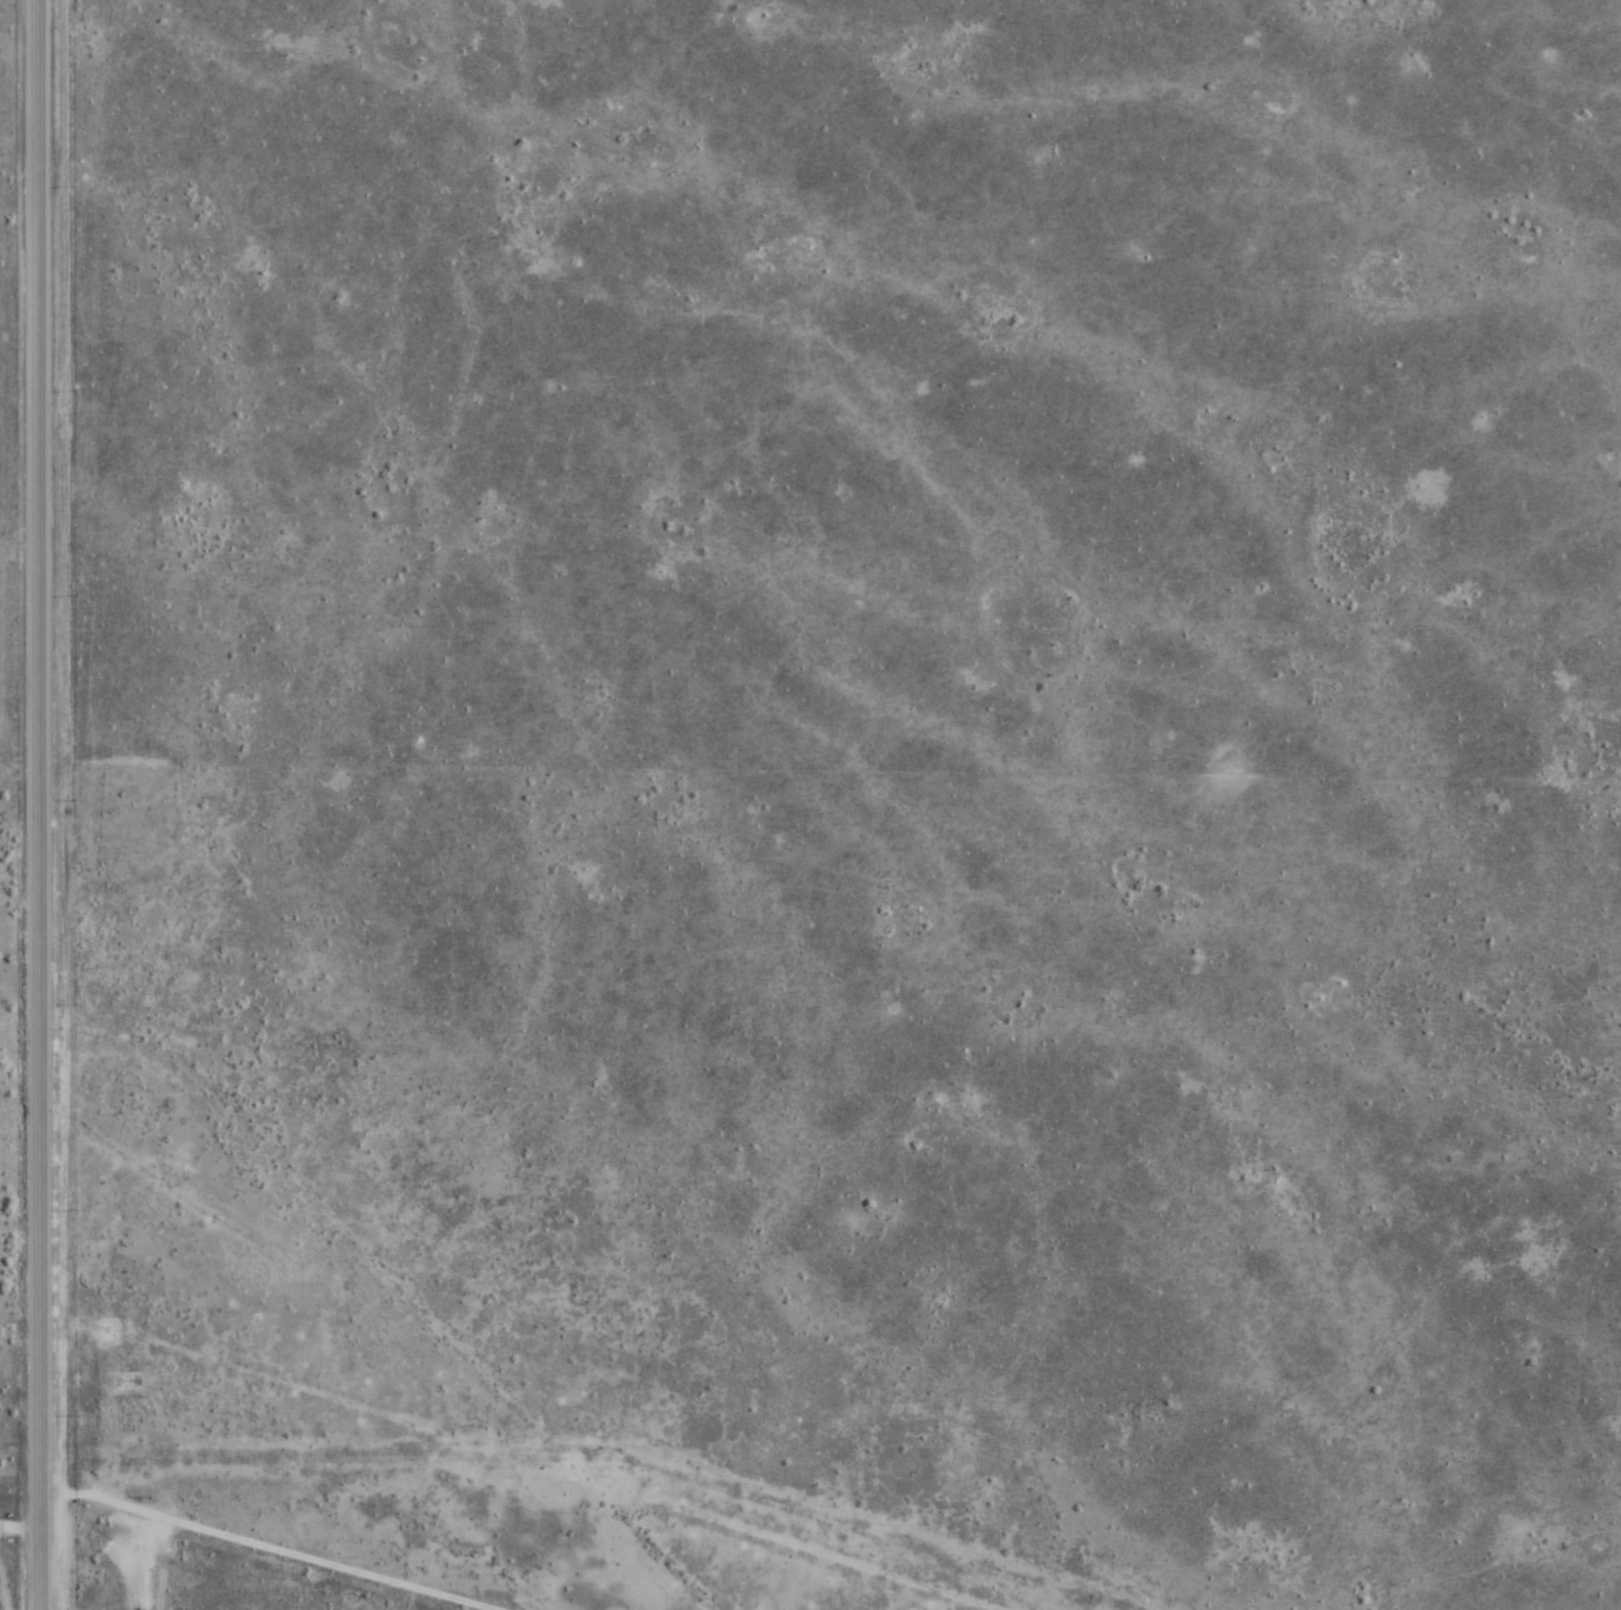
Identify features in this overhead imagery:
road: (41, 804)
road: (214, 1564)

